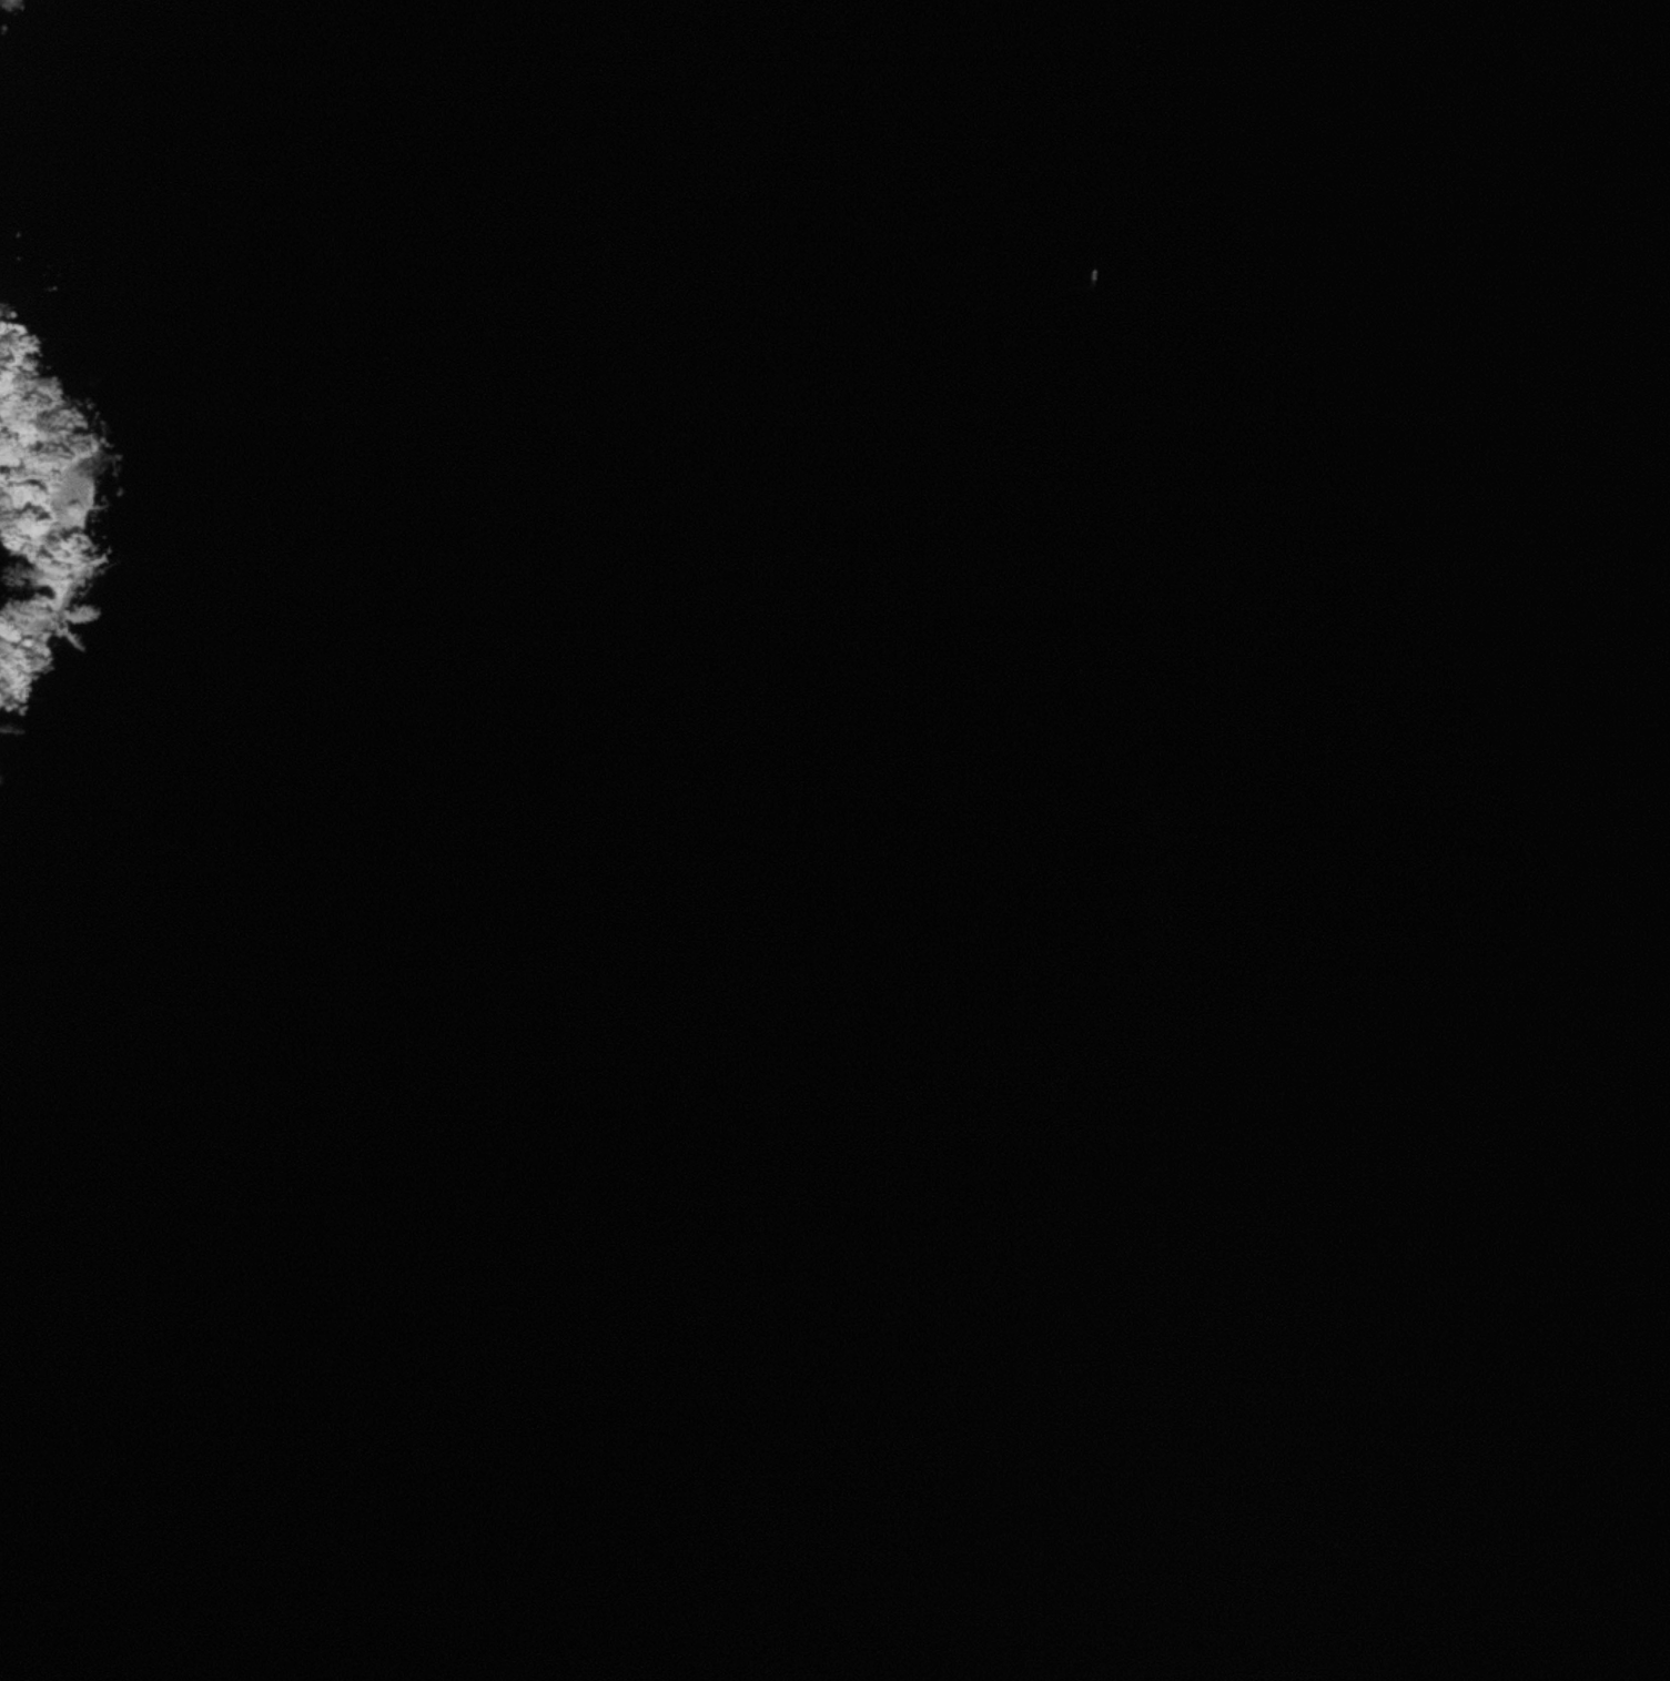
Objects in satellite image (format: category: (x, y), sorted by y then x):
park: (4, 8)
park: (51, 489)
road: (80, 496)

